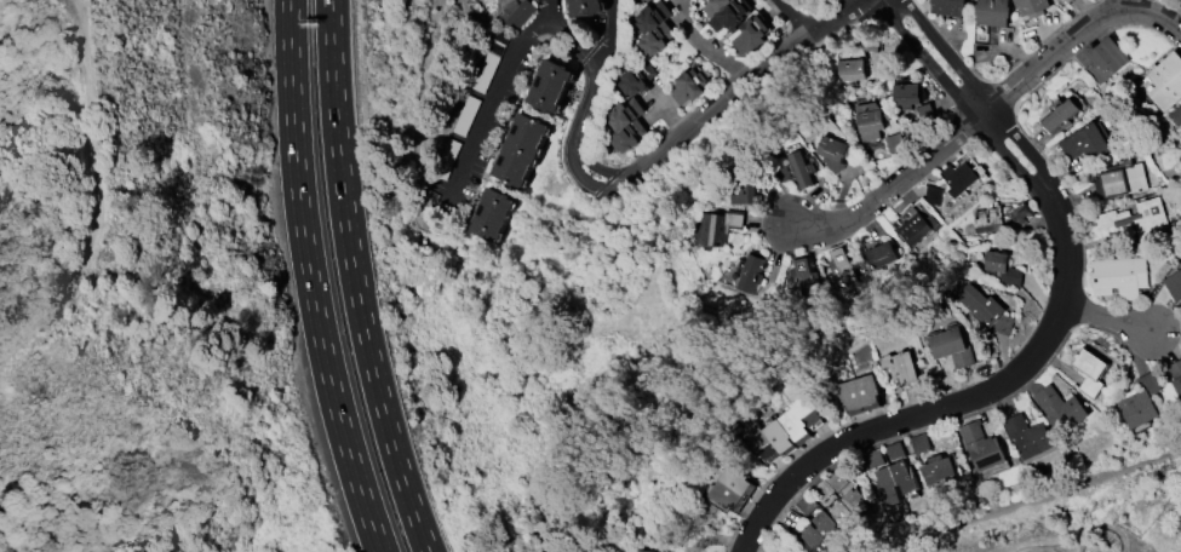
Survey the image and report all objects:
building: (648, 0)
road: (1123, 5)
building: (715, 6)
road: (835, 6)
building: (947, 6)
building: (1031, 6)
building: (585, 7)
building: (992, 12)
building: (516, 13)
building: (728, 16)
road: (798, 16)
building: (653, 27)
building: (750, 34)
road: (574, 38)
road: (704, 45)
building: (1101, 58)
building: (849, 69)
building: (636, 77)
building: (1165, 81)
building: (550, 85)
building: (687, 86)
road: (739, 87)
road: (504, 88)
road: (978, 92)
building: (906, 94)
road: (958, 98)
road: (586, 99)
building: (623, 113)
road: (987, 113)
building: (1059, 113)
building: (1175, 114)
building: (868, 120)
building: (626, 136)
building: (893, 142)
building: (1087, 142)
building: (520, 149)
building: (832, 153)
building: (797, 169)
building: (962, 176)
building: (1120, 180)
road: (82, 185)
building: (933, 194)
building: (492, 213)
building: (999, 217)
building: (1141, 219)
building: (913, 224)
building: (717, 226)
road: (1067, 246)
building: (879, 253)
building: (842, 265)
building: (1001, 268)
building: (746, 271)
building: (1119, 275)
building: (802, 276)
road: (309, 280)
road: (356, 280)
building: (1174, 284)
building: (985, 309)
road: (1110, 320)
building: (951, 346)
building: (900, 367)
building: (1090, 369)
building: (1175, 373)
building: (859, 393)
building: (1140, 403)
building: (1060, 408)
building: (808, 409)
road: (901, 420)
building: (796, 425)
building: (1027, 435)
building: (780, 436)
building: (919, 443)
building: (764, 444)
building: (981, 445)
building: (894, 450)
building: (871, 459)
building: (938, 467)
building: (901, 476)
building: (736, 479)
building: (884, 484)
building: (726, 494)
building: (853, 501)
building: (808, 505)
building: (841, 516)
building: (825, 525)
building: (812, 540)
building: (647, 551)

